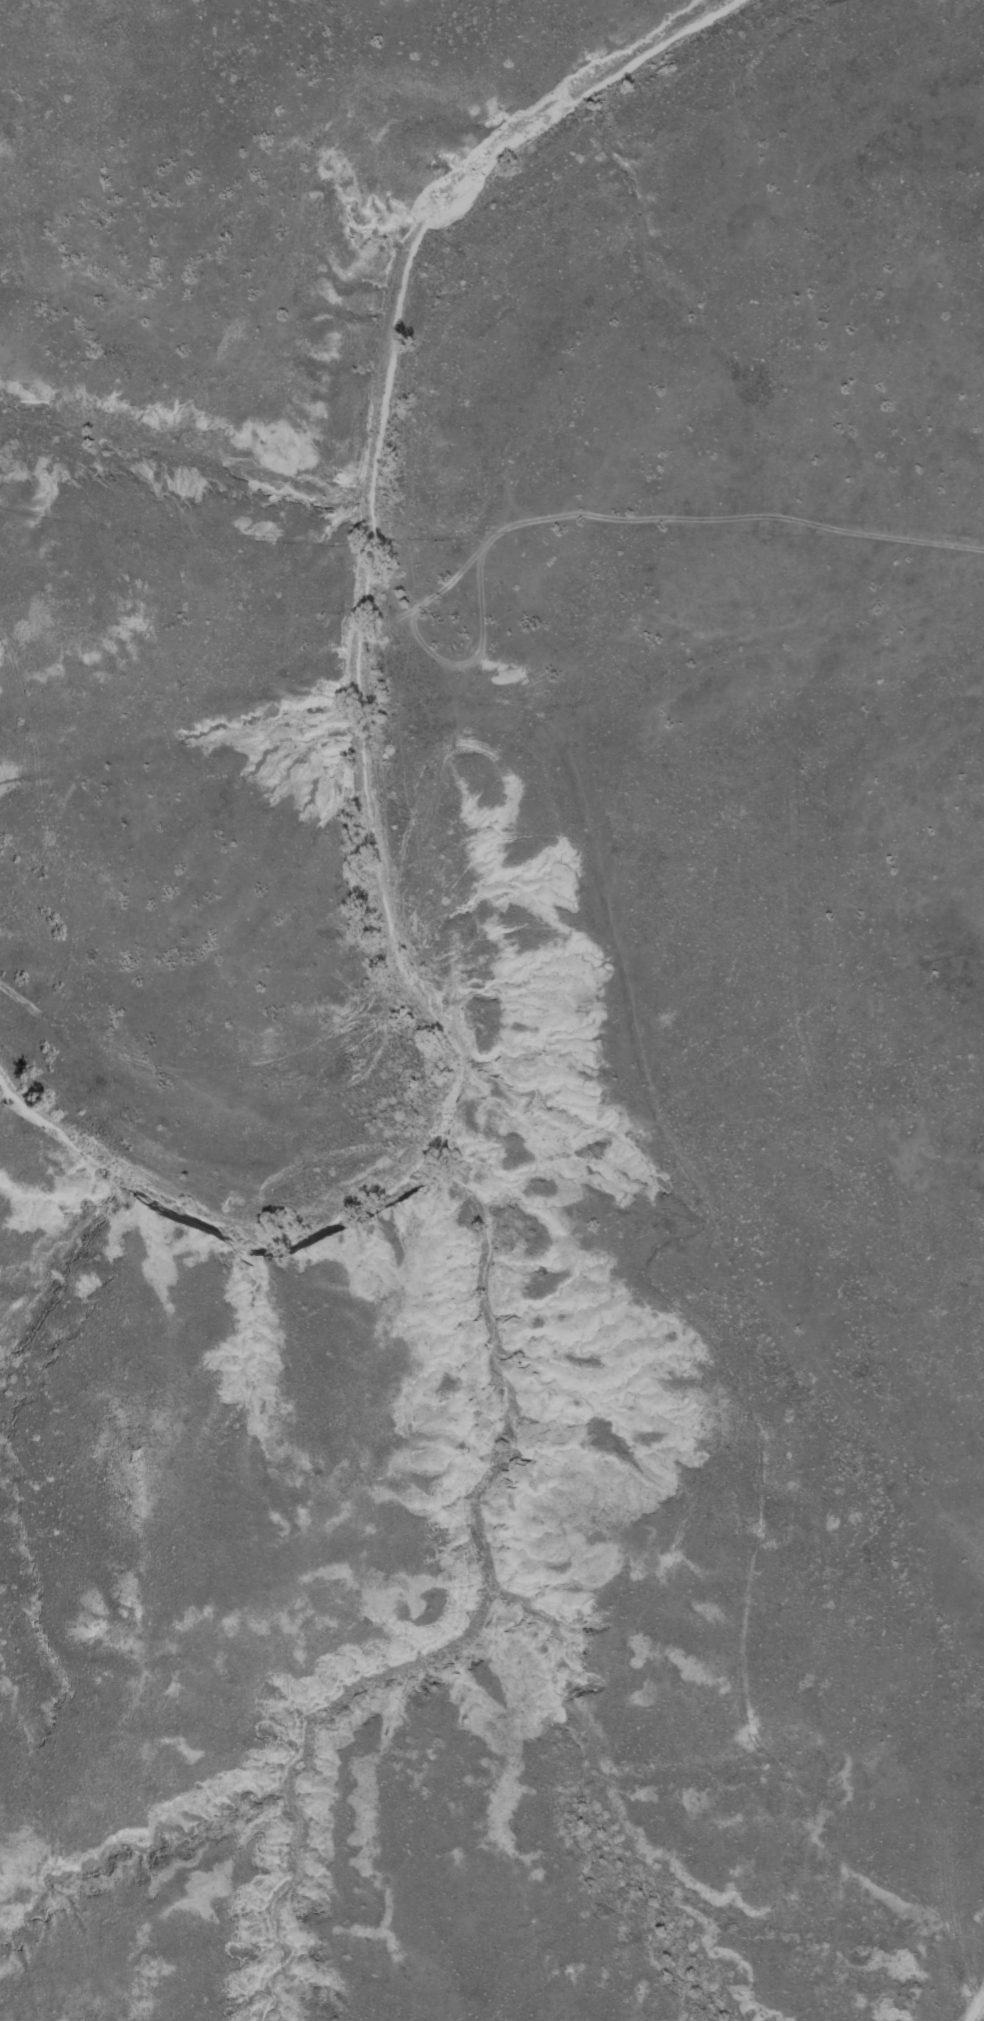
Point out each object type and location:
river: (368, 762)
road: (455, 799)
road: (956, 1911)

